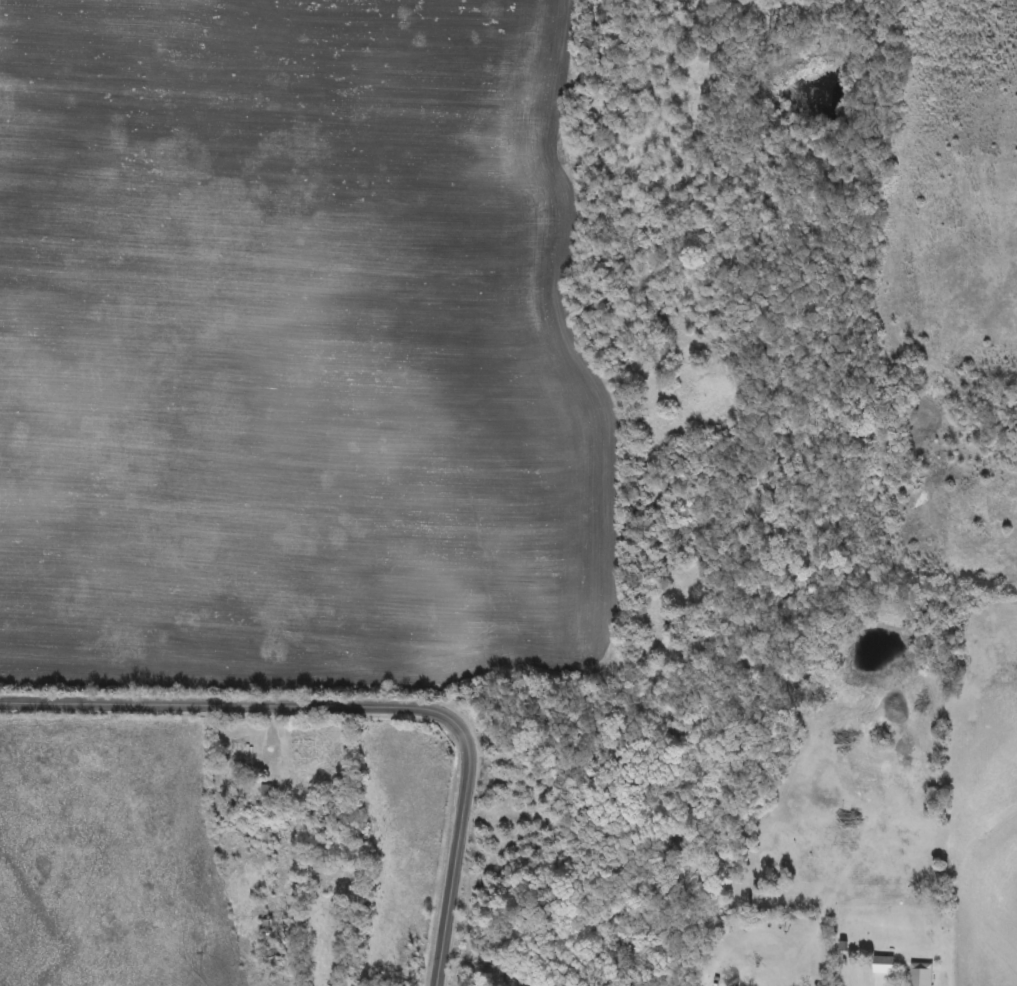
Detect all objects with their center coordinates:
road: (366, 695)
building: (236, 752)
building: (267, 792)
building: (270, 947)
building: (918, 975)

